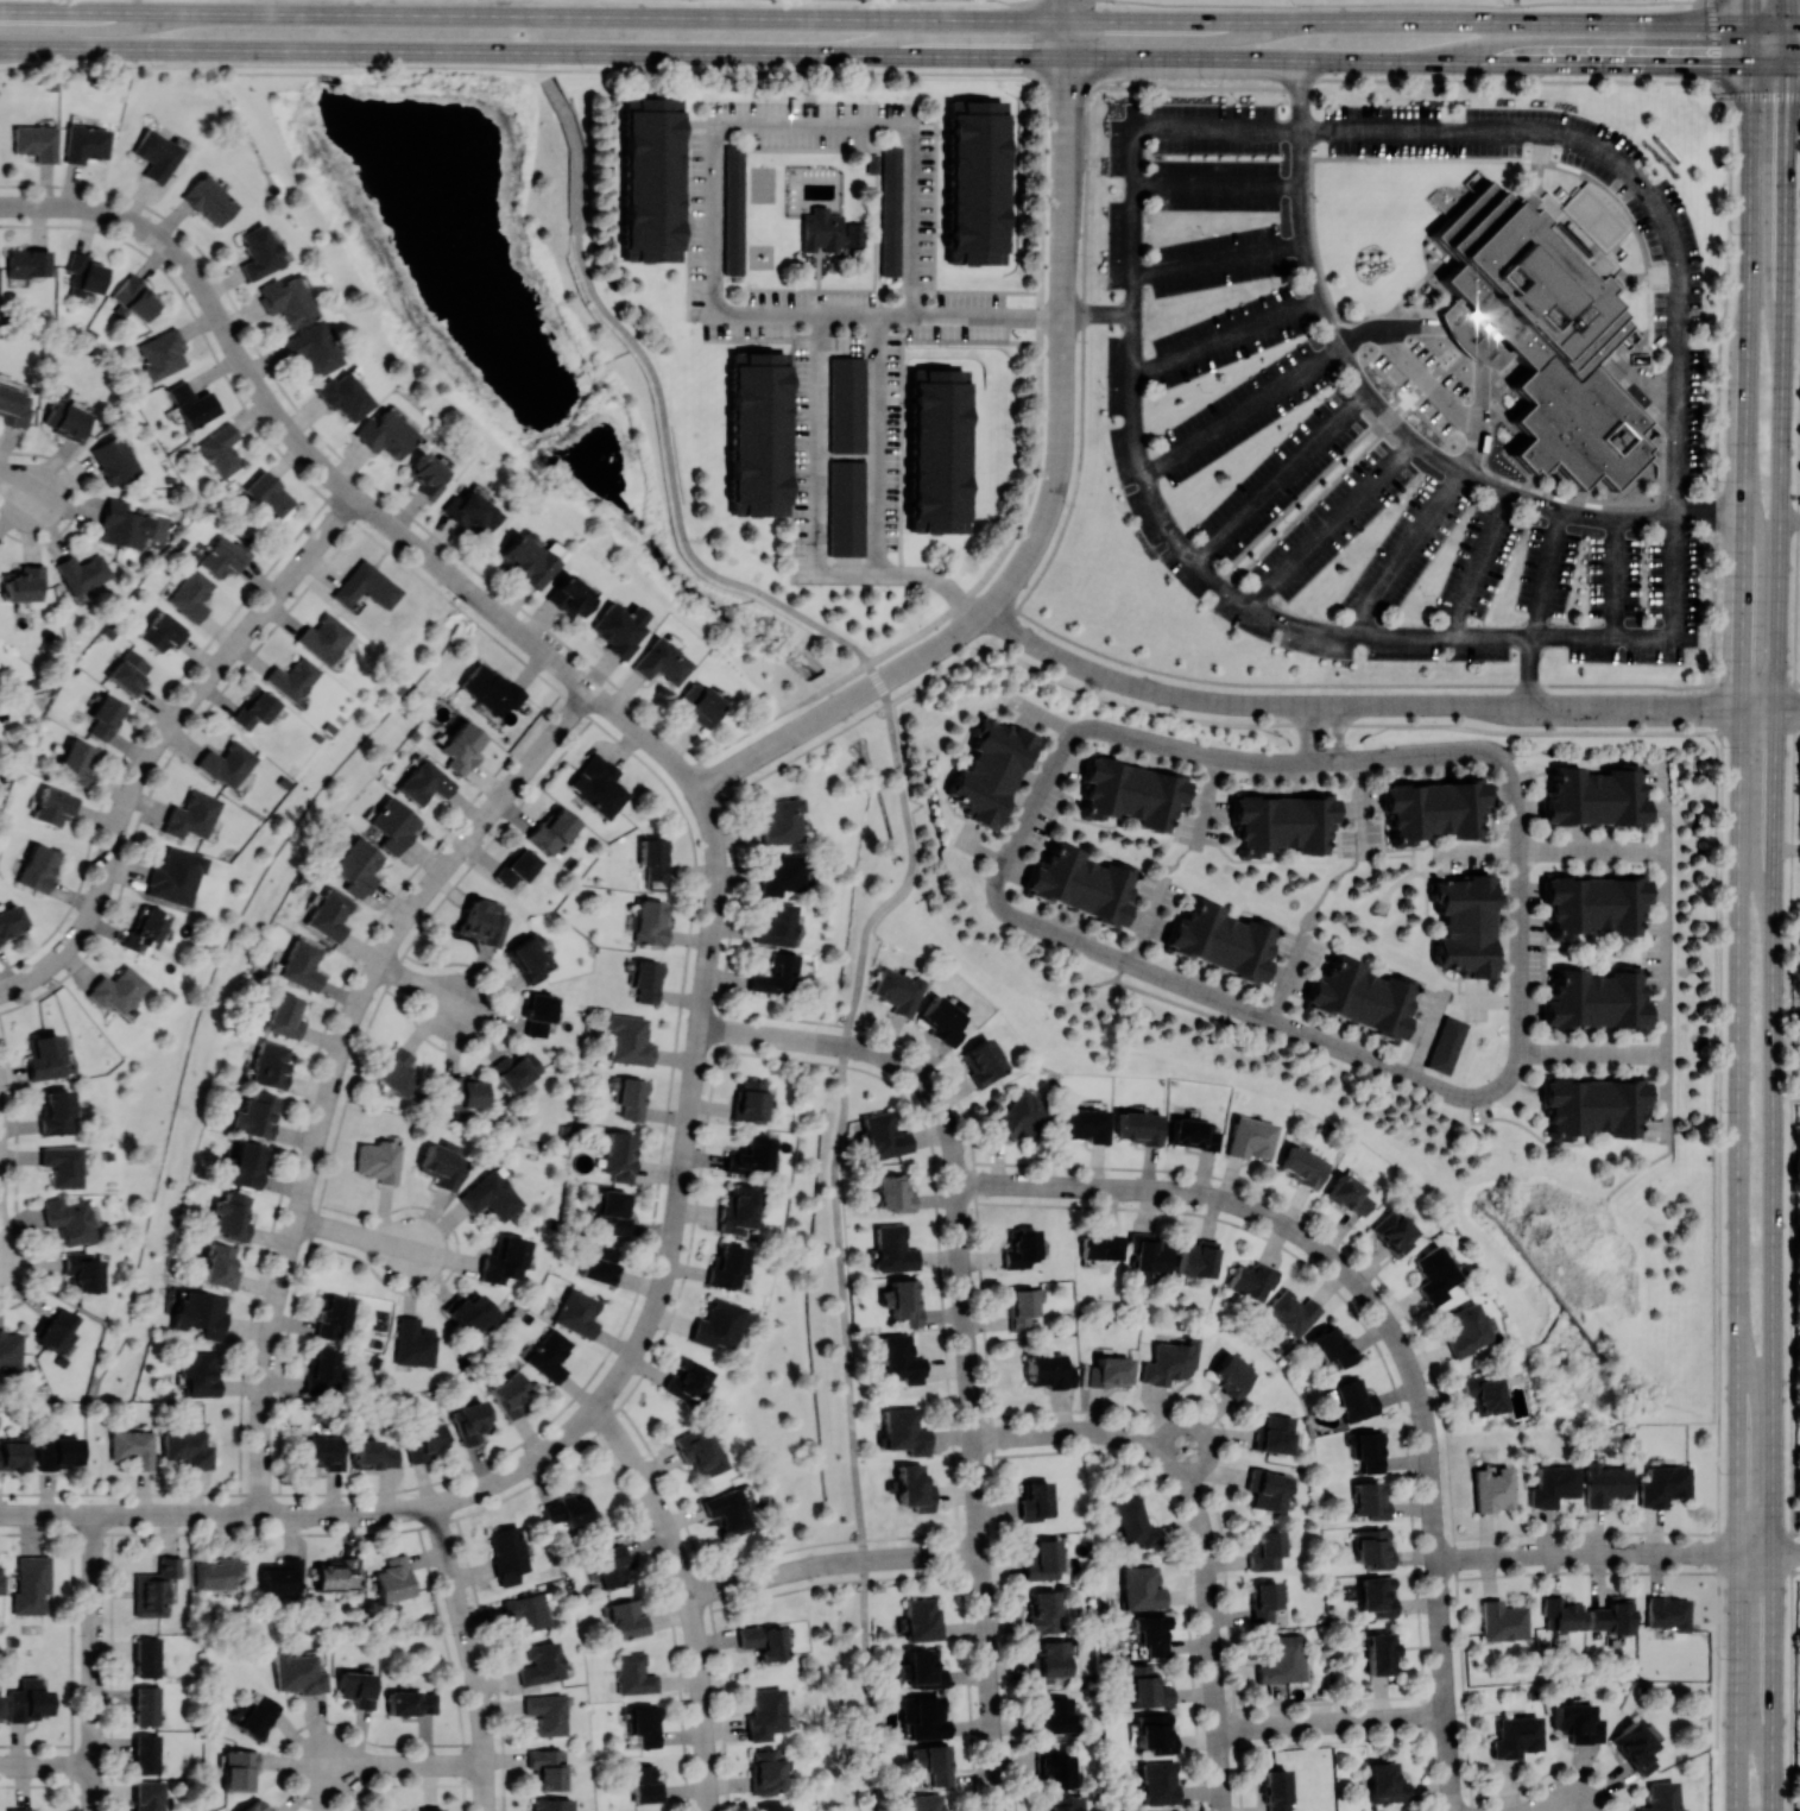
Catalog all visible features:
road: (1012, 1)
road: (1409, 2)
road: (533, 14)
road: (1067, 18)
road: (1409, 18)
road: (1769, 21)
road: (1793, 21)
road: (1787, 32)
road: (533, 51)
road: (1068, 56)
road: (1409, 59)
traffic signals: (1701, 64)
road: (1769, 64)
road: (1794, 64)
road: (903, 72)
road: (1067, 83)
traffic signals: (1788, 109)
road: (1301, 131)
building: (36, 141)
building: (86, 143)
building: (156, 154)
building: (871, 162)
building: (649, 178)
building: (975, 181)
park: (762, 183)
road: (1219, 188)
road: (712, 198)
road: (1041, 198)
building: (208, 200)
road: (935, 204)
building: (733, 208)
building: (890, 209)
building: (821, 229)
building: (857, 234)
building: (261, 251)
road: (1221, 261)
building: (29, 263)
building: (86, 275)
road: (986, 291)
building: (134, 298)
building: (286, 299)
road: (1099, 317)
building: (1547, 321)
road: (1040, 329)
road: (1472, 335)
road: (1227, 339)
road: (902, 346)
building: (312, 347)
road: (1747, 352)
building: (163, 354)
road: (240, 356)
road: (1063, 361)
road: (1717, 379)
road: (1429, 384)
building: (345, 396)
road: (1408, 400)
building: (194, 403)
building: (847, 404)
building: (14, 406)
road: (1242, 414)
road: (1389, 419)
building: (65, 421)
building: (385, 433)
building: (756, 433)
parking lot: (1331, 441)
building: (221, 449)
building: (937, 450)
building: (113, 459)
building: (427, 474)
road: (1284, 480)
road: (17, 485)
building: (269, 494)
building: (846, 507)
building: (470, 511)
road: (1789, 520)
building: (121, 524)
road: (1332, 528)
building: (225, 555)
building: (531, 557)
road: (1408, 557)
road: (991, 566)
road: (1480, 570)
road: (842, 572)
building: (81, 573)
road: (934, 576)
road: (459, 581)
building: (23, 582)
road: (740, 582)
road: (1617, 582)
building: (366, 585)
road: (463, 585)
road: (484, 601)
road: (1540, 607)
road: (975, 620)
building: (619, 627)
building: (162, 631)
building: (323, 637)
road: (940, 646)
road: (234, 648)
building: (661, 661)
building: (130, 673)
building: (291, 677)
road: (602, 700)
road: (851, 700)
building: (700, 703)
road: (1337, 705)
road: (1712, 705)
road: (1738, 705)
road: (1780, 705)
building: (253, 708)
building: (106, 715)
road: (1040, 715)
road: (1338, 732)
road: (1306, 733)
building: (462, 746)
building: (76, 761)
building: (226, 763)
road: (743, 763)
building: (989, 771)
building: (424, 782)
building: (599, 785)
building: (1130, 793)
road: (1210, 795)
building: (1596, 795)
road: (1362, 802)
building: (55, 806)
road: (1666, 807)
building: (1433, 808)
building: (190, 815)
road: (121, 818)
building: (782, 820)
building: (1282, 822)
building: (393, 824)
building: (552, 829)
road: (1787, 847)
road: (1483, 851)
building: (653, 857)
building: (358, 865)
building: (37, 866)
building: (516, 866)
building: (175, 876)
building: (1080, 883)
building: (1593, 903)
building: (329, 914)
building: (11, 921)
building: (482, 921)
building: (650, 921)
building: (1465, 923)
building: (777, 926)
road: (83, 928)
building: (144, 929)
road: (1775, 936)
building: (1221, 939)
road: (688, 946)
road: (710, 951)
road: (1666, 952)
building: (528, 958)
building: (302, 965)
building: (776, 973)
building: (646, 980)
road: (416, 983)
building: (116, 989)
building: (896, 990)
building: (1360, 995)
building: (1596, 998)
building: (538, 1014)
building: (284, 1015)
building: (942, 1020)
road: (1291, 1028)
road: (757, 1034)
building: (630, 1040)
road: (832, 1043)
building: (1448, 1043)
building: (45, 1056)
building: (983, 1061)
building: (270, 1065)
road: (337, 1066)
building: (517, 1068)
building: (397, 1071)
building: (463, 1093)
road: (1665, 1094)
building: (632, 1097)
building: (749, 1099)
building: (1593, 1106)
building: (56, 1112)
building: (254, 1115)
building: (1022, 1116)
building: (1086, 1124)
road: (688, 1125)
building: (1138, 1127)
building: (1192, 1134)
building: (883, 1135)
building: (1249, 1137)
road: (1793, 1141)
building: (750, 1154)
building: (619, 1155)
building: (379, 1160)
building: (247, 1163)
building: (443, 1163)
building: (62, 1165)
building: (1302, 1166)
road: (1062, 1186)
road: (1175, 1191)
building: (893, 1192)
building: (1349, 1194)
building: (490, 1195)
building: (737, 1209)
building: (614, 1210)
building: (230, 1216)
building: (69, 1219)
building: (1392, 1231)
road: (356, 1236)
building: (1100, 1247)
road: (1718, 1247)
building: (892, 1248)
building: (1021, 1248)
building: (1148, 1255)
building: (1198, 1257)
road: (1738, 1257)
building: (503, 1260)
building: (600, 1263)
building: (219, 1266)
building: (726, 1266)
building: (82, 1272)
building: (1434, 1274)
building: (1252, 1279)
building: (903, 1300)
building: (1024, 1306)
building: (470, 1312)
building: (577, 1312)
building: (1293, 1312)
building: (200, 1313)
building: (333, 1319)
road: (1388, 1319)
building: (718, 1324)
building: (1466, 1329)
building: (53, 1330)
building: (415, 1343)
building: (1332, 1345)
building: (10, 1352)
building: (549, 1355)
building: (901, 1358)
building: (1169, 1362)
road: (94, 1367)
building: (321, 1368)
building: (1049, 1370)
building: (1106, 1371)
building: (197, 1374)
building: (1231, 1374)
building: (686, 1378)
building: (1483, 1393)
building: (510, 1394)
road: (606, 1395)
road: (973, 1400)
building: (1353, 1400)
building: (470, 1421)
road: (852, 1427)
road: (1205, 1430)
building: (904, 1431)
road: (1101, 1431)
building: (1275, 1433)
road: (1030, 1434)
building: (423, 1441)
building: (133, 1446)
building: (188, 1447)
building: (1369, 1450)
building: (323, 1451)
building: (697, 1451)
building: (13, 1452)
building: (57, 1452)
building: (372, 1453)
building: (1604, 1482)
building: (1553, 1484)
building: (1662, 1485)
building: (914, 1487)
building: (1267, 1489)
building: (1492, 1489)
building: (1370, 1498)
building: (1035, 1500)
building: (566, 1509)
building: (728, 1509)
road: (42, 1514)
road: (95, 1514)
road: (228, 1514)
road: (358, 1514)
building: (1133, 1523)
building: (1372, 1547)
building: (1265, 1551)
road: (1586, 1552)
road: (1769, 1552)
building: (507, 1553)
building: (1042, 1558)
road: (835, 1563)
building: (614, 1564)
building: (217, 1572)
building: (337, 1573)
building: (283, 1575)
building: (393, 1578)
building: (0, 1579)
building: (31, 1584)
building: (156, 1586)
building: (1141, 1588)
building: (1377, 1595)
road: (690, 1597)
building: (1264, 1601)
road: (1211, 1602)
building: (526, 1610)
building: (1044, 1611)
building: (1668, 1613)
building: (1561, 1614)
building: (1611, 1615)
building: (629, 1617)
building: (922, 1620)
building: (1503, 1620)
road: (1440, 1622)
building: (1150, 1632)
building: (763, 1641)
building: (1379, 1652)
building: (147, 1657)
road: (470, 1657)
building: (1282, 1659)
building: (1049, 1660)
road: (94, 1662)
building: (541, 1662)
building: (922, 1667)
building: (298, 1673)
building: (634, 1674)
building: (356, 1687)
building: (1147, 1687)
building: (27, 1700)
building: (411, 1702)
building: (147, 1704)
building: (0, 1705)
building: (547, 1712)
building: (765, 1714)
building: (1056, 1714)
building: (258, 1716)
building: (923, 1716)
road: (1333, 1722)
building: (1577, 1722)
building: (645, 1724)
building: (1155, 1731)
building: (1516, 1736)
road: (1448, 1747)
building: (1634, 1747)
building: (147, 1753)
building: (933, 1762)
road: (46, 1765)
road: (408, 1766)
building: (547, 1767)
building: (1055, 1767)
building: (240, 1769)
building: (766, 1771)
building: (1158, 1781)
building: (1385, 1781)
building: (645, 1784)
building: (1276, 1790)
building: (149, 1794)
building: (1659, 1796)
building: (926, 1801)
building: (1066, 1803)
building: (551, 1804)
building: (255, 1805)
building: (771, 1807)
building: (20, 1809)
building: (423, 1810)
road: (1561, 1810)

